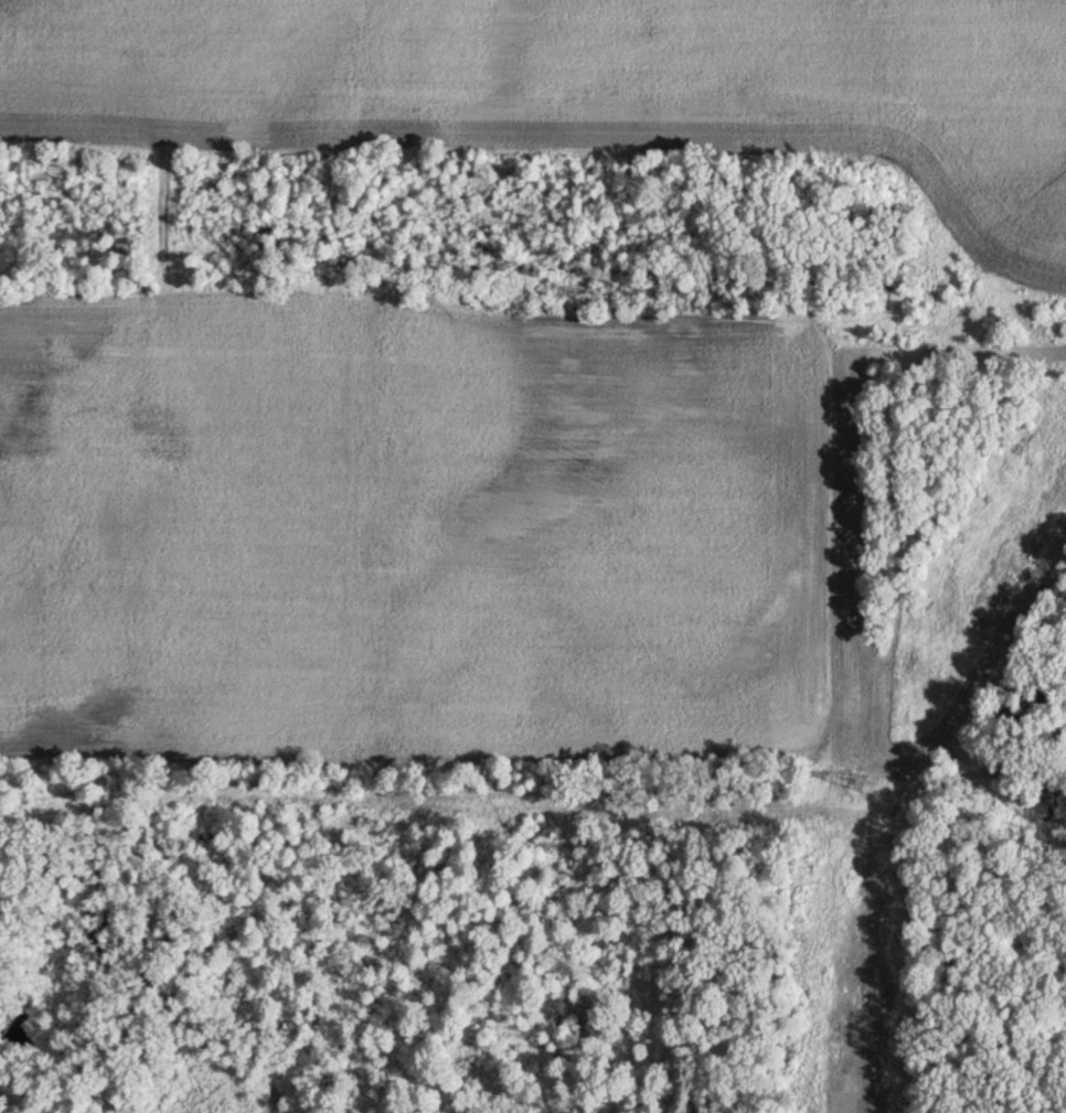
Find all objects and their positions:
power tower: (851, 779)

